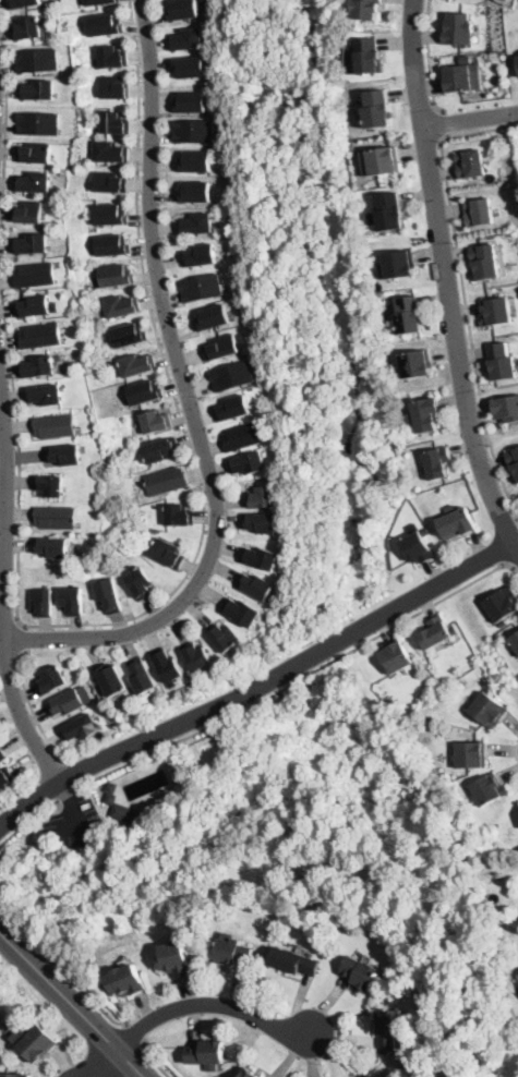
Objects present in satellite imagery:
building: (99, 2)
building: (22, 3)
building: (365, 9)
building: (184, 10)
building: (105, 24)
building: (458, 27)
building: (27, 28)
building: (188, 39)
building: (368, 56)
building: (517, 56)
building: (112, 57)
building: (466, 58)
road: (429, 59)
building: (517, 60)
building: (37, 61)
building: (191, 66)
building: (456, 78)
building: (113, 87)
building: (38, 90)
building: (192, 102)
building: (378, 109)
road: (471, 120)
building: (38, 123)
building: (113, 123)
road: (439, 124)
building: (193, 131)
building: (110, 152)
building: (34, 153)
building: (385, 160)
building: (196, 161)
building: (468, 164)
building: (64, 171)
building: (34, 182)
building: (109, 182)
building: (196, 192)
building: (29, 213)
building: (390, 213)
building: (477, 213)
building: (109, 215)
building: (198, 225)
building: (31, 244)
building: (112, 245)
building: (201, 256)
building: (483, 262)
building: (401, 265)
building: (35, 275)
building: (116, 275)
road: (448, 277)
building: (202, 288)
road: (463, 291)
building: (36, 306)
building: (121, 306)
building: (494, 312)
building: (410, 315)
building: (214, 317)
building: (40, 334)
building: (128, 335)
building: (220, 348)
building: (58, 354)
building: (501, 362)
building: (418, 363)
building: (135, 364)
road: (5, 366)
building: (38, 366)
building: (232, 376)
building: (144, 392)
building: (45, 395)
road: (189, 399)
building: (232, 409)
building: (506, 409)
building: (426, 414)
building: (155, 421)
building: (55, 426)
building: (243, 436)
building: (160, 450)
building: (64, 455)
building: (436, 462)
building: (513, 462)
building: (248, 463)
building: (166, 481)
building: (50, 485)
building: (262, 498)
building: (179, 516)
building: (55, 517)
building: (261, 522)
building: (457, 523)
building: (425, 529)
building: (51, 546)
building: (415, 548)
building: (167, 554)
building: (261, 558)
road: (516, 567)
building: (140, 583)
building: (256, 586)
road: (4, 588)
building: (109, 595)
building: (72, 601)
building: (41, 602)
building: (502, 604)
building: (241, 613)
road: (106, 624)
building: (435, 632)
building: (224, 638)
road: (22, 640)
building: (515, 641)
building: (197, 657)
building: (395, 657)
building: (168, 667)
building: (143, 677)
building: (110, 679)
building: (51, 681)
road: (300, 681)
road: (257, 686)
building: (67, 703)
road: (32, 710)
building: (487, 710)
building: (81, 727)
building: (470, 754)
building: (2, 755)
road: (72, 774)
building: (5, 778)
building: (489, 789)
road: (65, 792)
road: (67, 796)
building: (122, 808)
road: (75, 816)
road: (28, 824)
building: (233, 953)
building: (174, 959)
building: (293, 961)
road: (63, 970)
building: (361, 973)
building: (125, 981)
road: (72, 1004)
road: (192, 1006)
building: (388, 1028)
road: (135, 1033)
building: (37, 1044)
building: (206, 1053)
road: (154, 1061)
building: (413, 1063)
building: (248, 1073)
building: (13, 1075)
building: (374, 1076)

